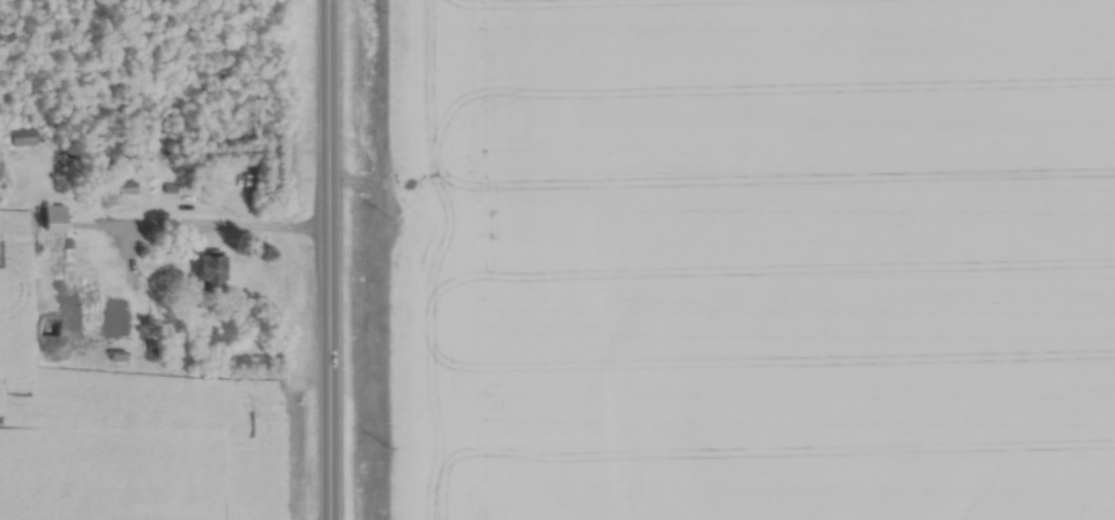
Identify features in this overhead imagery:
building: (51, 214)
road: (262, 228)
road: (327, 260)
building: (209, 270)
building: (73, 307)
building: (115, 316)

